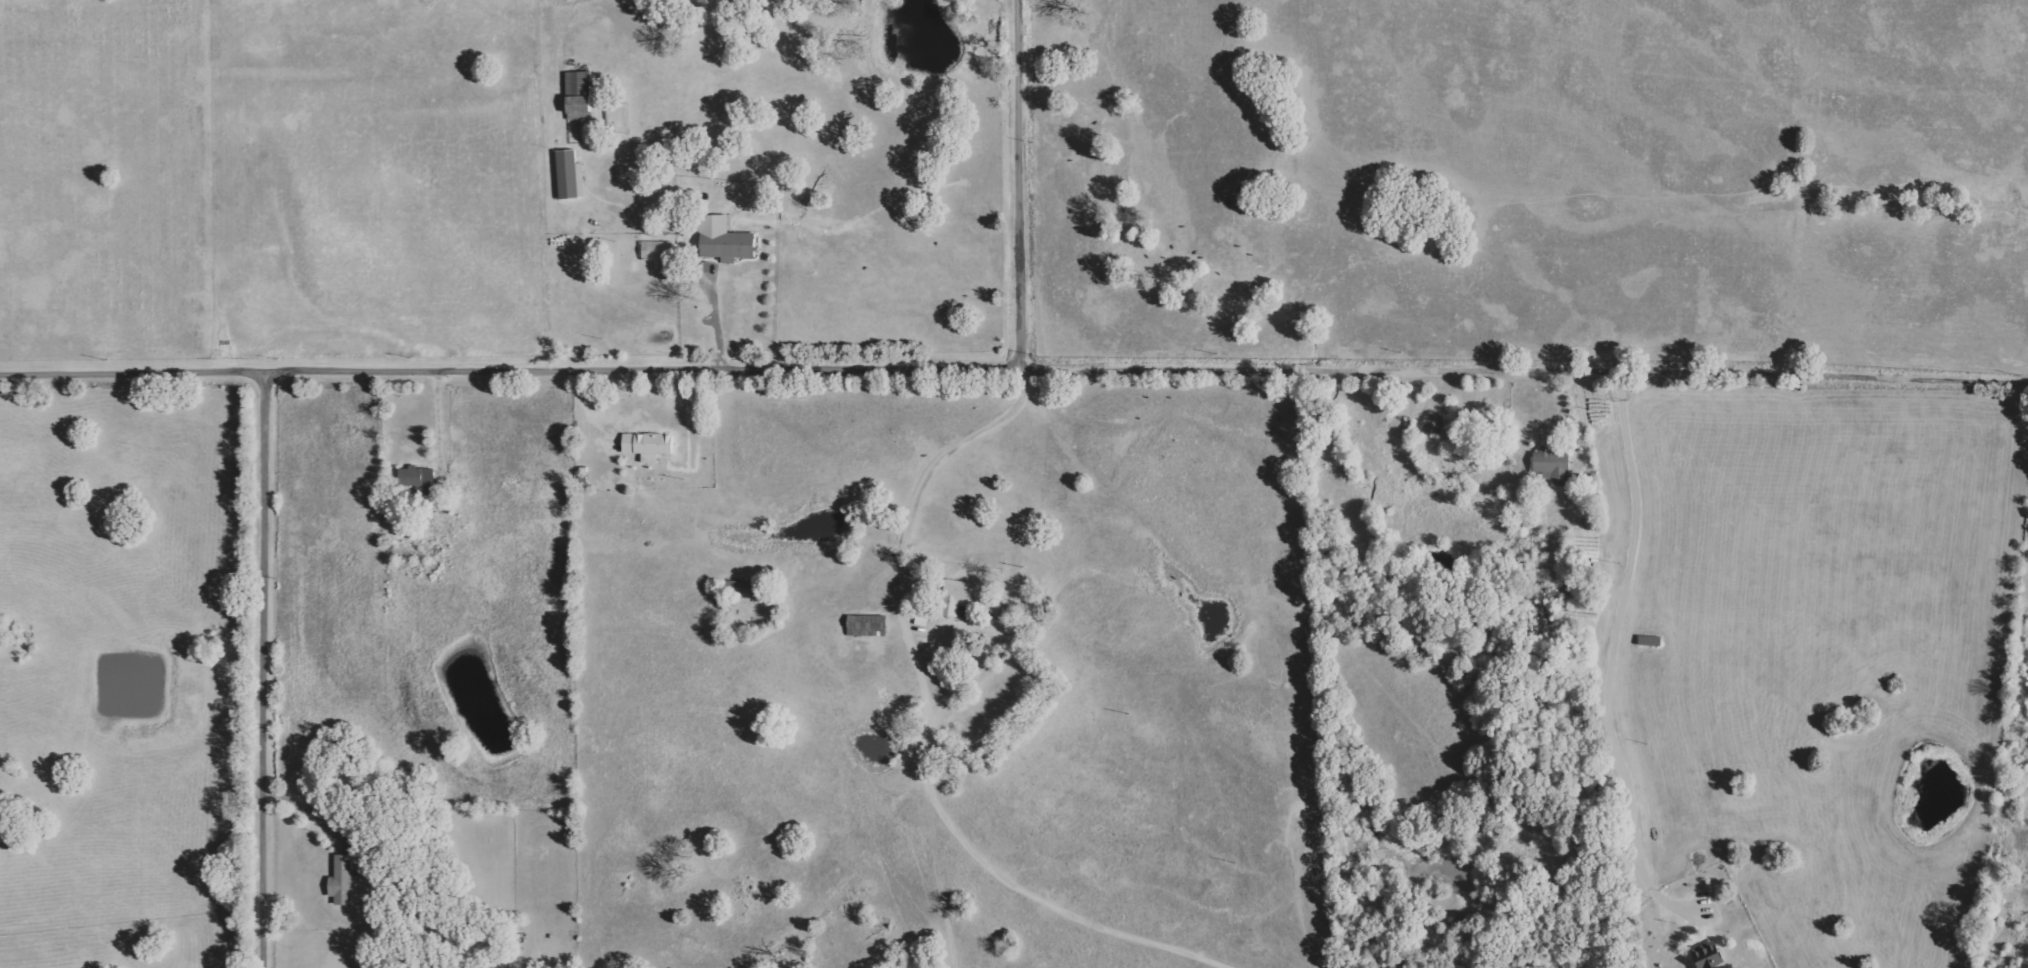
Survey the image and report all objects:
building: (577, 95)
building: (568, 175)
road: (1018, 183)
building: (722, 240)
building: (655, 251)
road: (716, 323)
road: (507, 371)
road: (1521, 372)
building: (1432, 423)
road: (437, 425)
road: (1580, 429)
building: (646, 445)
building: (1552, 466)
building: (416, 479)
building: (736, 586)
building: (954, 597)
building: (865, 626)
road: (1610, 661)
road: (262, 669)
road: (926, 731)
road: (306, 808)
building: (340, 880)
building: (1706, 957)

